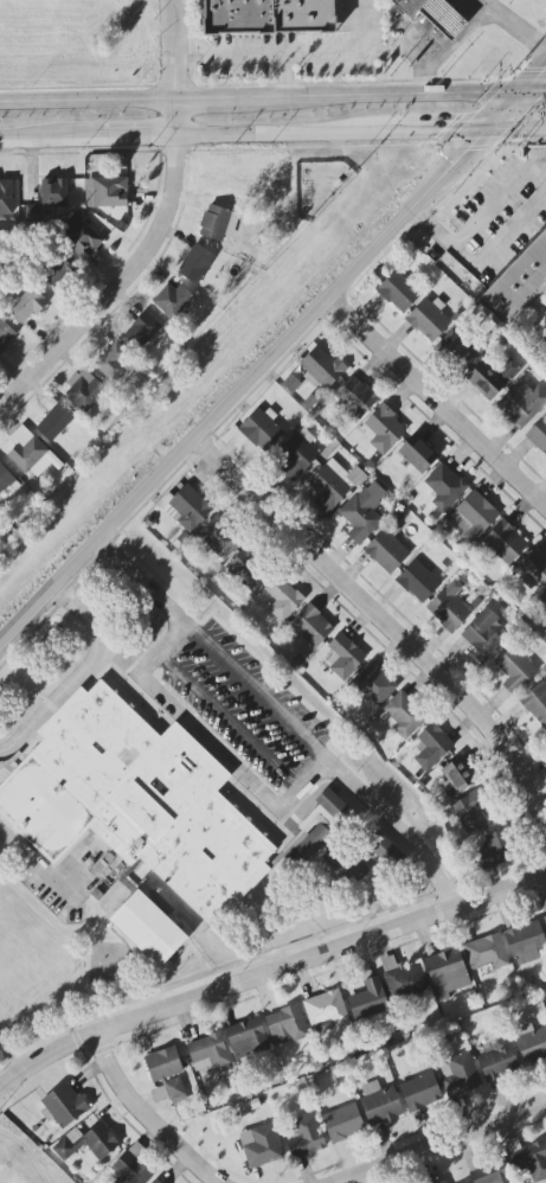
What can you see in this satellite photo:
building: (435, 15)
building: (268, 17)
road: (514, 26)
road: (452, 50)
road: (293, 53)
traffic signals: (545, 72)
road: (285, 77)
road: (531, 96)
road: (393, 100)
road: (224, 101)
road: (89, 103)
road: (514, 132)
road: (437, 134)
traffic signals: (443, 134)
road: (284, 135)
road: (141, 138)
road: (52, 140)
traffic signals: (468, 148)
power substation: (319, 186)
building: (105, 192)
building: (54, 193)
building: (6, 198)
parking lot: (508, 204)
road: (475, 218)
building: (218, 223)
road: (156, 232)
building: (81, 236)
road: (499, 241)
building: (195, 263)
building: (59, 271)
building: (518, 282)
building: (398, 292)
building: (172, 300)
building: (27, 306)
building: (429, 319)
building: (141, 331)
building: (5, 335)
building: (458, 350)
road: (272, 357)
building: (114, 362)
building: (322, 369)
building: (493, 377)
building: (84, 390)
building: (355, 397)
road: (437, 402)
building: (522, 403)
building: (53, 418)
building: (262, 429)
building: (383, 429)
building: (538, 435)
building: (31, 453)
building: (296, 454)
building: (418, 454)
building: (5, 480)
building: (333, 485)
building: (444, 486)
building: (188, 509)
building: (361, 514)
building: (473, 516)
building: (219, 538)
building: (505, 543)
building: (387, 550)
building: (533, 570)
building: (246, 571)
road: (143, 581)
building: (418, 581)
building: (283, 597)
building: (544, 597)
building: (449, 607)
road: (384, 621)
building: (311, 626)
building: (483, 635)
road: (162, 650)
building: (342, 657)
building: (514, 669)
road: (78, 674)
road: (25, 680)
building: (373, 684)
road: (257, 693)
building: (535, 703)
building: (403, 716)
road: (230, 722)
building: (432, 747)
road: (233, 766)
building: (460, 774)
building: (134, 800)
building: (470, 812)
building: (319, 826)
road: (398, 830)
building: (494, 851)
road: (47, 875)
road: (297, 904)
building: (545, 919)
building: (148, 928)
road: (255, 933)
building: (526, 942)
building: (487, 953)
road: (131, 959)
road: (218, 972)
road: (269, 973)
building: (447, 973)
building: (404, 979)
building: (368, 1000)
building: (326, 1011)
building: (287, 1025)
road: (76, 1032)
building: (246, 1038)
building: (532, 1044)
building: (207, 1053)
building: (497, 1059)
building: (166, 1070)
building: (460, 1074)
building: (420, 1092)
building: (380, 1104)
building: (65, 1105)
road: (150, 1114)
building: (343, 1124)
building: (306, 1137)
road: (445, 1142)
building: (89, 1143)
building: (261, 1146)
building: (528, 1159)
building: (130, 1170)
building: (487, 1171)
building: (155, 1181)
building: (443, 1182)
building: (467, 1182)

